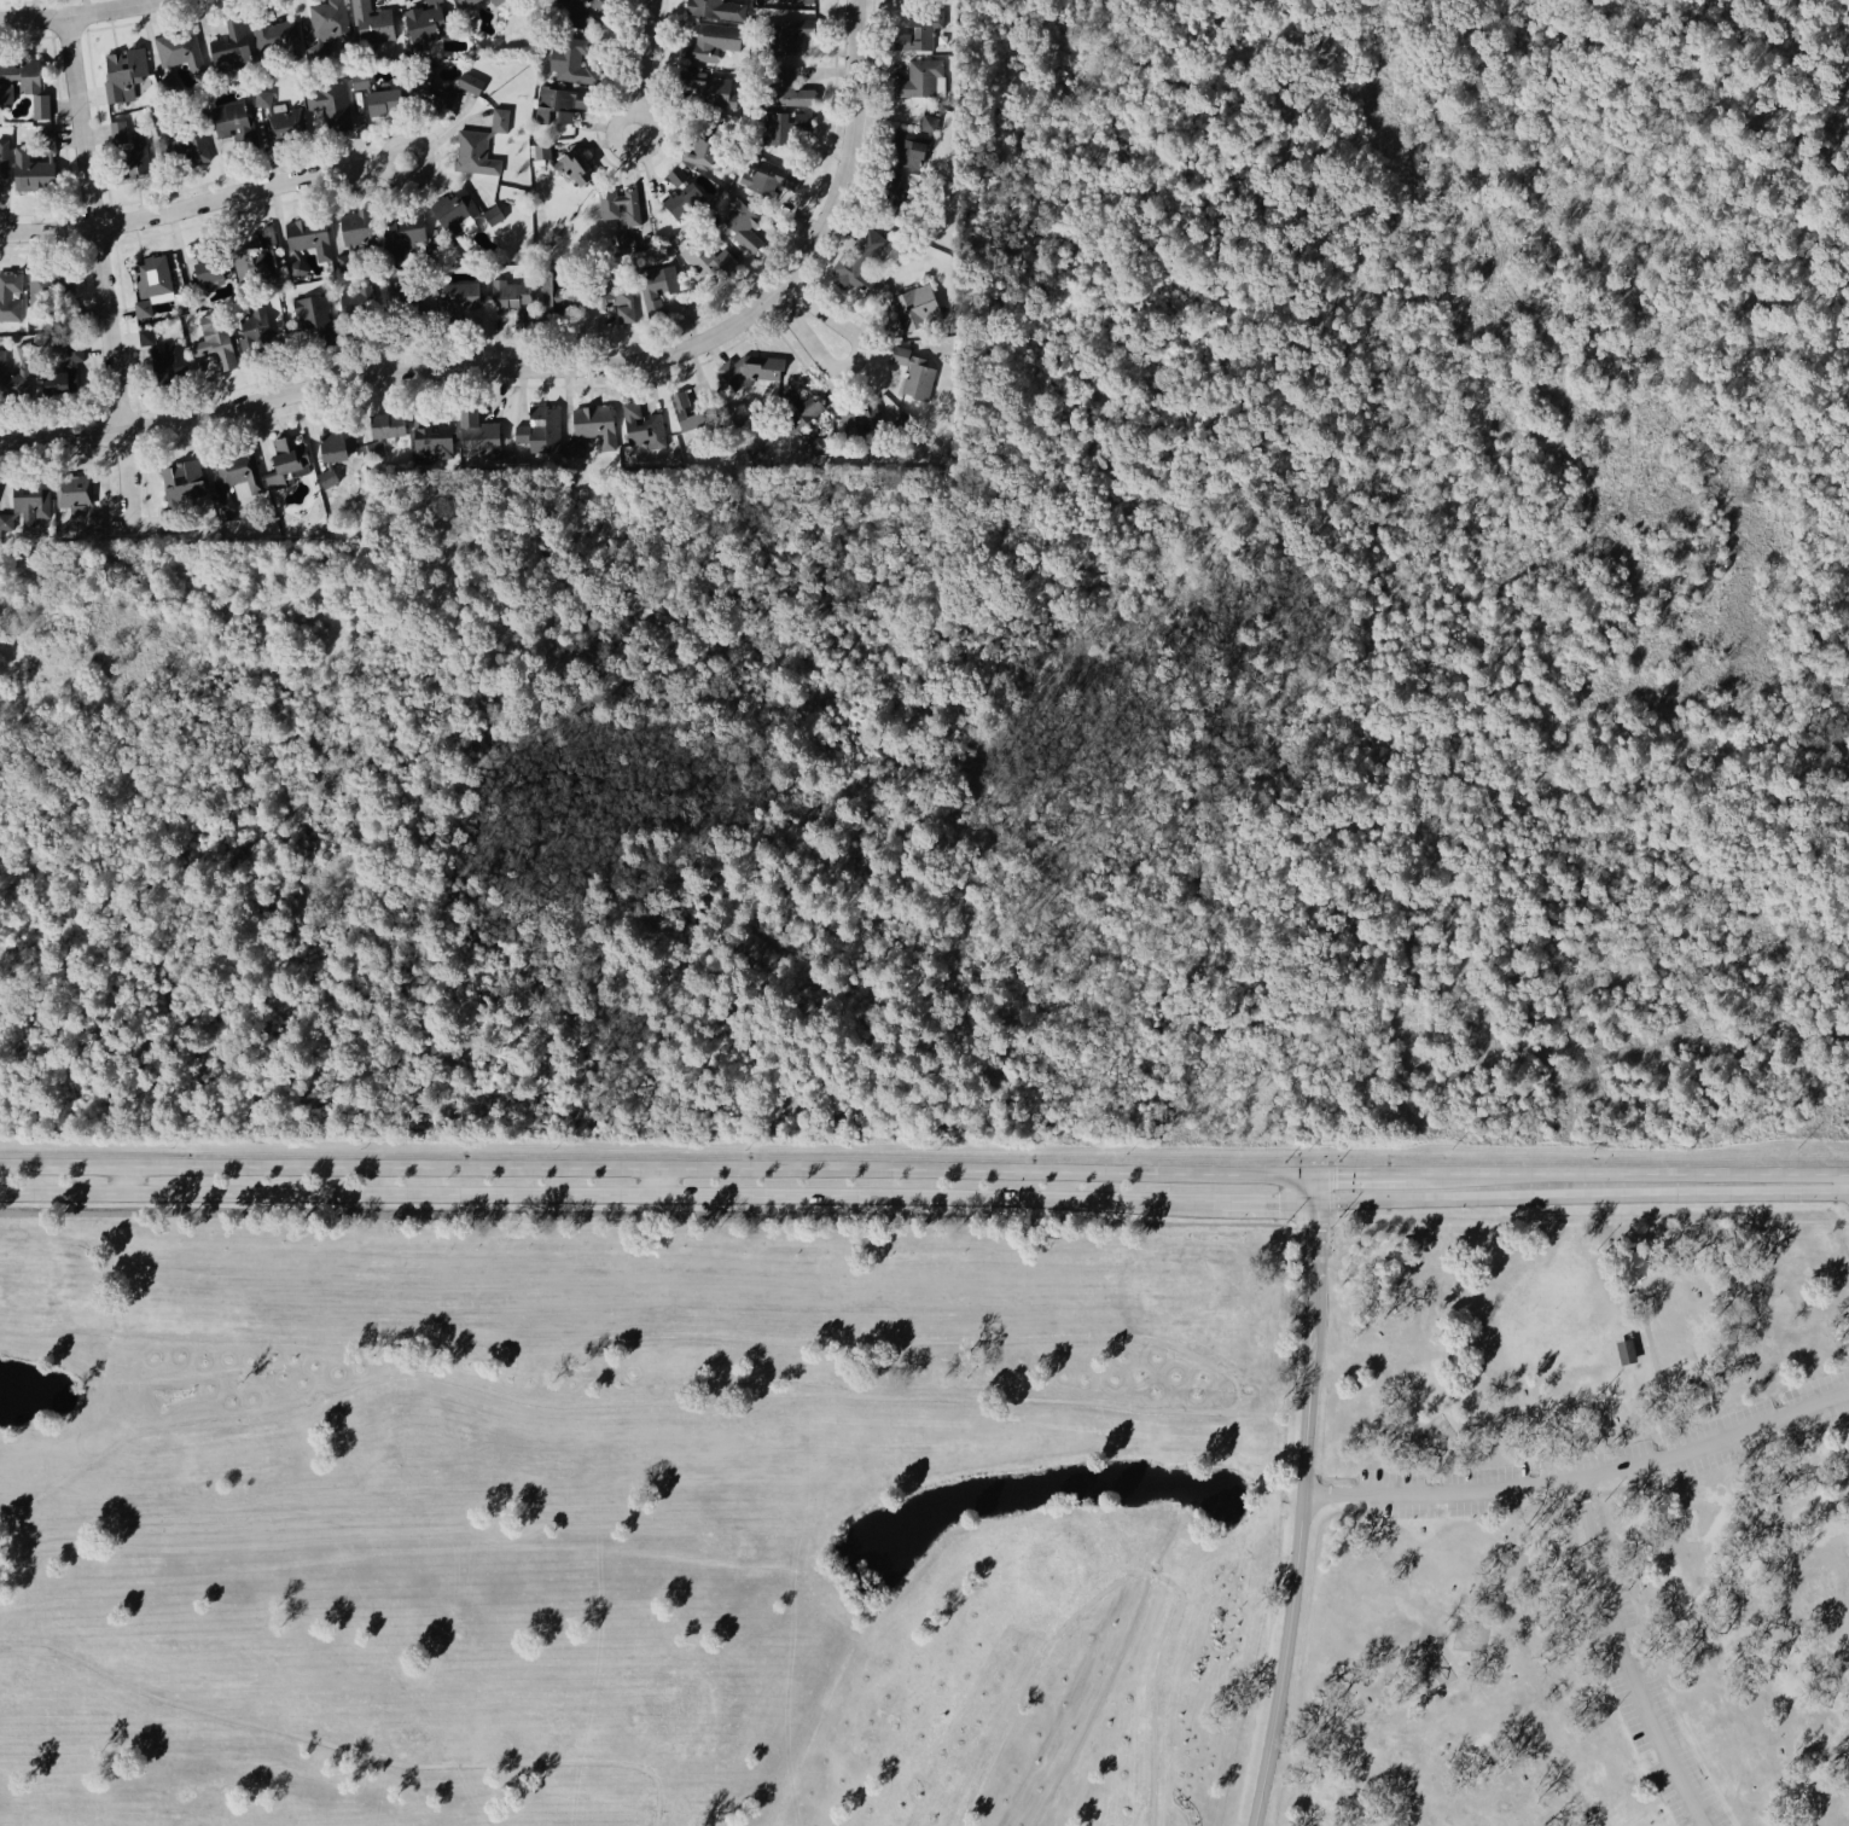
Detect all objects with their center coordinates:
building: (809, 0)
building: (461, 2)
building: (498, 2)
building: (716, 7)
road: (83, 12)
building: (575, 13)
building: (328, 18)
building: (423, 22)
building: (371, 25)
building: (920, 28)
building: (789, 34)
building: (273, 40)
building: (708, 43)
building: (229, 48)
building: (569, 57)
road: (640, 57)
building: (178, 58)
building: (122, 70)
building: (16, 76)
building: (921, 78)
building: (359, 80)
building: (705, 87)
building: (786, 87)
building: (443, 89)
building: (262, 98)
building: (384, 101)
building: (562, 101)
building: (40, 105)
building: (328, 110)
building: (499, 120)
building: (234, 122)
building: (285, 124)
building: (779, 126)
building: (117, 130)
building: (46, 141)
road: (393, 144)
building: (704, 144)
building: (912, 146)
building: (185, 149)
building: (136, 151)
building: (475, 152)
road: (634, 152)
road: (851, 155)
building: (2, 157)
building: (564, 163)
building: (29, 169)
building: (769, 175)
building: (896, 191)
building: (682, 193)
road: (193, 205)
building: (459, 211)
building: (623, 213)
building: (739, 222)
building: (401, 232)
building: (355, 233)
building: (309, 242)
building: (254, 258)
building: (856, 262)
building: (714, 264)
road: (103, 269)
building: (208, 274)
building: (152, 275)
building: (51, 284)
building: (657, 285)
building: (553, 290)
building: (617, 290)
building: (459, 297)
building: (512, 297)
building: (10, 298)
building: (407, 304)
building: (141, 308)
building: (357, 308)
building: (911, 309)
building: (314, 315)
road: (809, 319)
building: (254, 330)
building: (216, 343)
building: (23, 349)
building: (164, 353)
building: (59, 370)
building: (750, 370)
building: (913, 371)
road: (396, 374)
building: (14, 382)
building: (792, 409)
building: (693, 414)
building: (861, 417)
building: (591, 423)
building: (902, 424)
building: (641, 429)
building: (540, 431)
building: (388, 434)
building: (477, 435)
building: (431, 438)
building: (337, 443)
building: (819, 444)
building: (289, 463)
building: (327, 478)
building: (182, 479)
building: (236, 481)
building: (79, 496)
building: (34, 499)
building: (162, 518)
building: (7, 522)
road: (658, 1171)
traffic signals: (1337, 1173)
road: (1379, 1173)
road: (1499, 1173)
road: (1702, 1173)
road: (1315, 1186)
road: (1581, 1194)
road: (586, 1198)
road: (1244, 1200)
traffic signals: (1277, 1202)
road: (644, 1216)
road: (1587, 1220)
road: (1847, 1221)
road: (1309, 1222)
street lamp: (1327, 1228)
traffic signals: (1315, 1229)
road: (1313, 1267)
building: (1632, 1269)
park: (30, 1272)
park: (1184, 1286)
road: (1639, 1348)
building: (1622, 1351)
road: (1651, 1360)
road: (1231, 1411)
parking lot: (1684, 1438)
road: (1670, 1443)
parking lot: (1673, 1443)
parking lot: (1613, 1459)
road: (1583, 1476)
traffic signals: (1330, 1491)
traffic signals: (1586, 1501)
park: (638, 1517)
park: (926, 1522)
road: (1193, 1560)
park: (1047, 1565)
road: (1123, 1581)
road: (1296, 1581)
road: (1628, 1658)
parking lot: (1647, 1702)
park: (678, 1710)
road: (345, 1749)
parking lot: (1667, 1789)
road: (1652, 1802)

